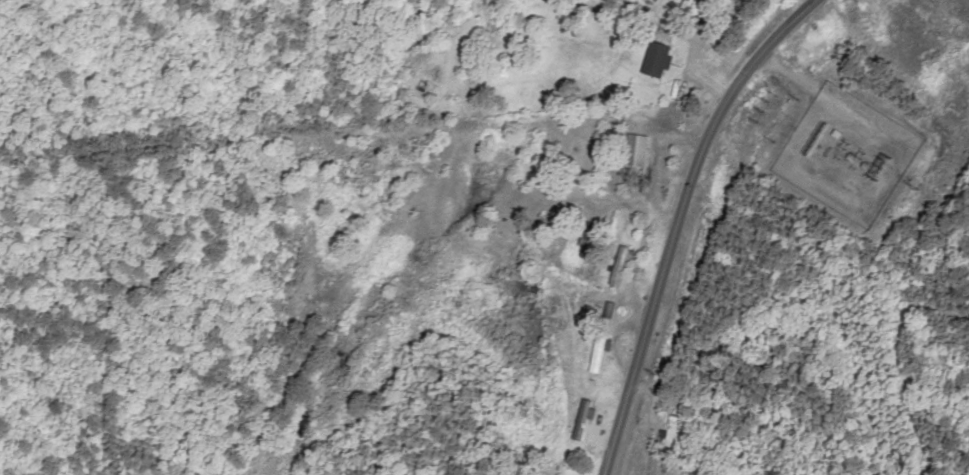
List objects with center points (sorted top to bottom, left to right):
building: (688, 7)
building: (655, 59)
building: (635, 150)
power substation: (846, 154)
power tower: (882, 166)
power tower: (918, 189)
road: (680, 218)
building: (619, 266)

